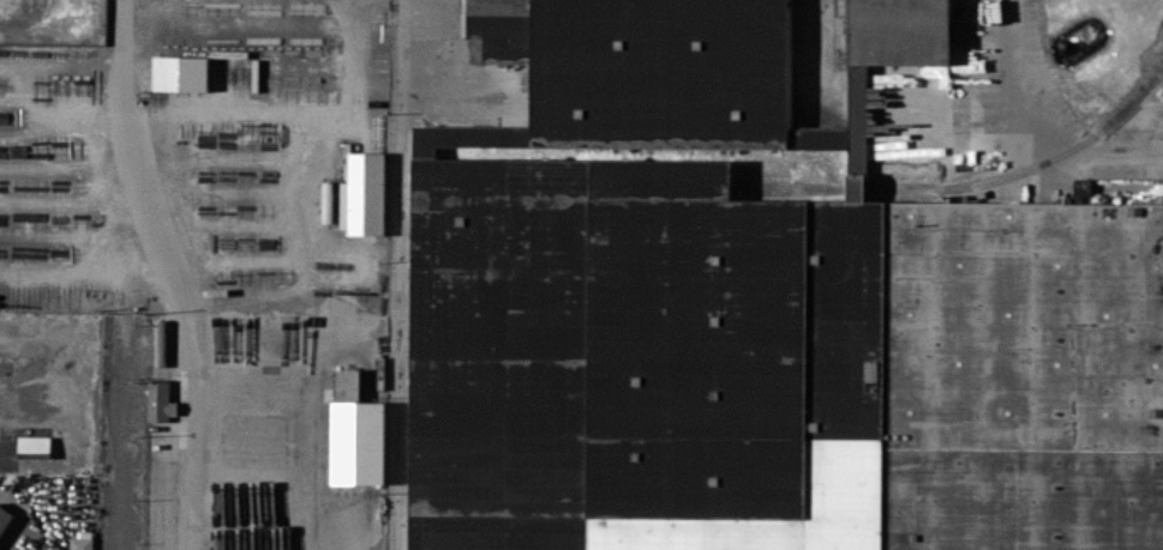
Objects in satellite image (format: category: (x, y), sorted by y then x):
building: (181, 73)
building: (682, 73)
road: (127, 149)
railway: (1031, 167)
railway: (789, 182)
railway: (856, 186)
building: (1083, 186)
railway: (876, 188)
railway: (856, 189)
railway: (787, 191)
building: (364, 193)
building: (328, 201)
road: (398, 274)
building: (774, 365)
building: (161, 400)
road: (192, 418)
building: (358, 433)
building: (35, 443)
building: (5, 518)
building: (82, 543)

